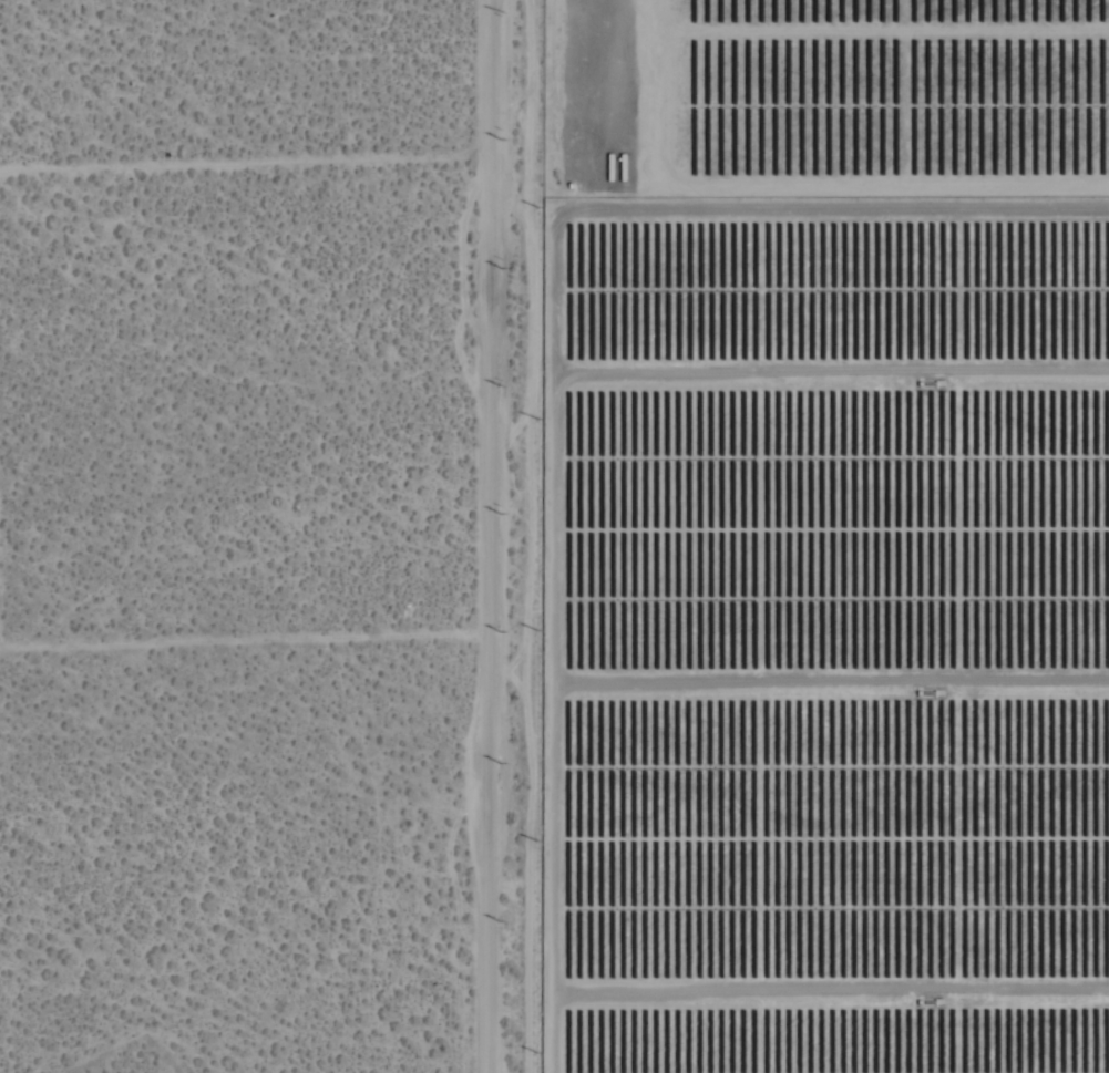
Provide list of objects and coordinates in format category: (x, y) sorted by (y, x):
solar farm: (822, 95)
road: (243, 163)
road: (485, 536)
solar farm: (822, 632)

